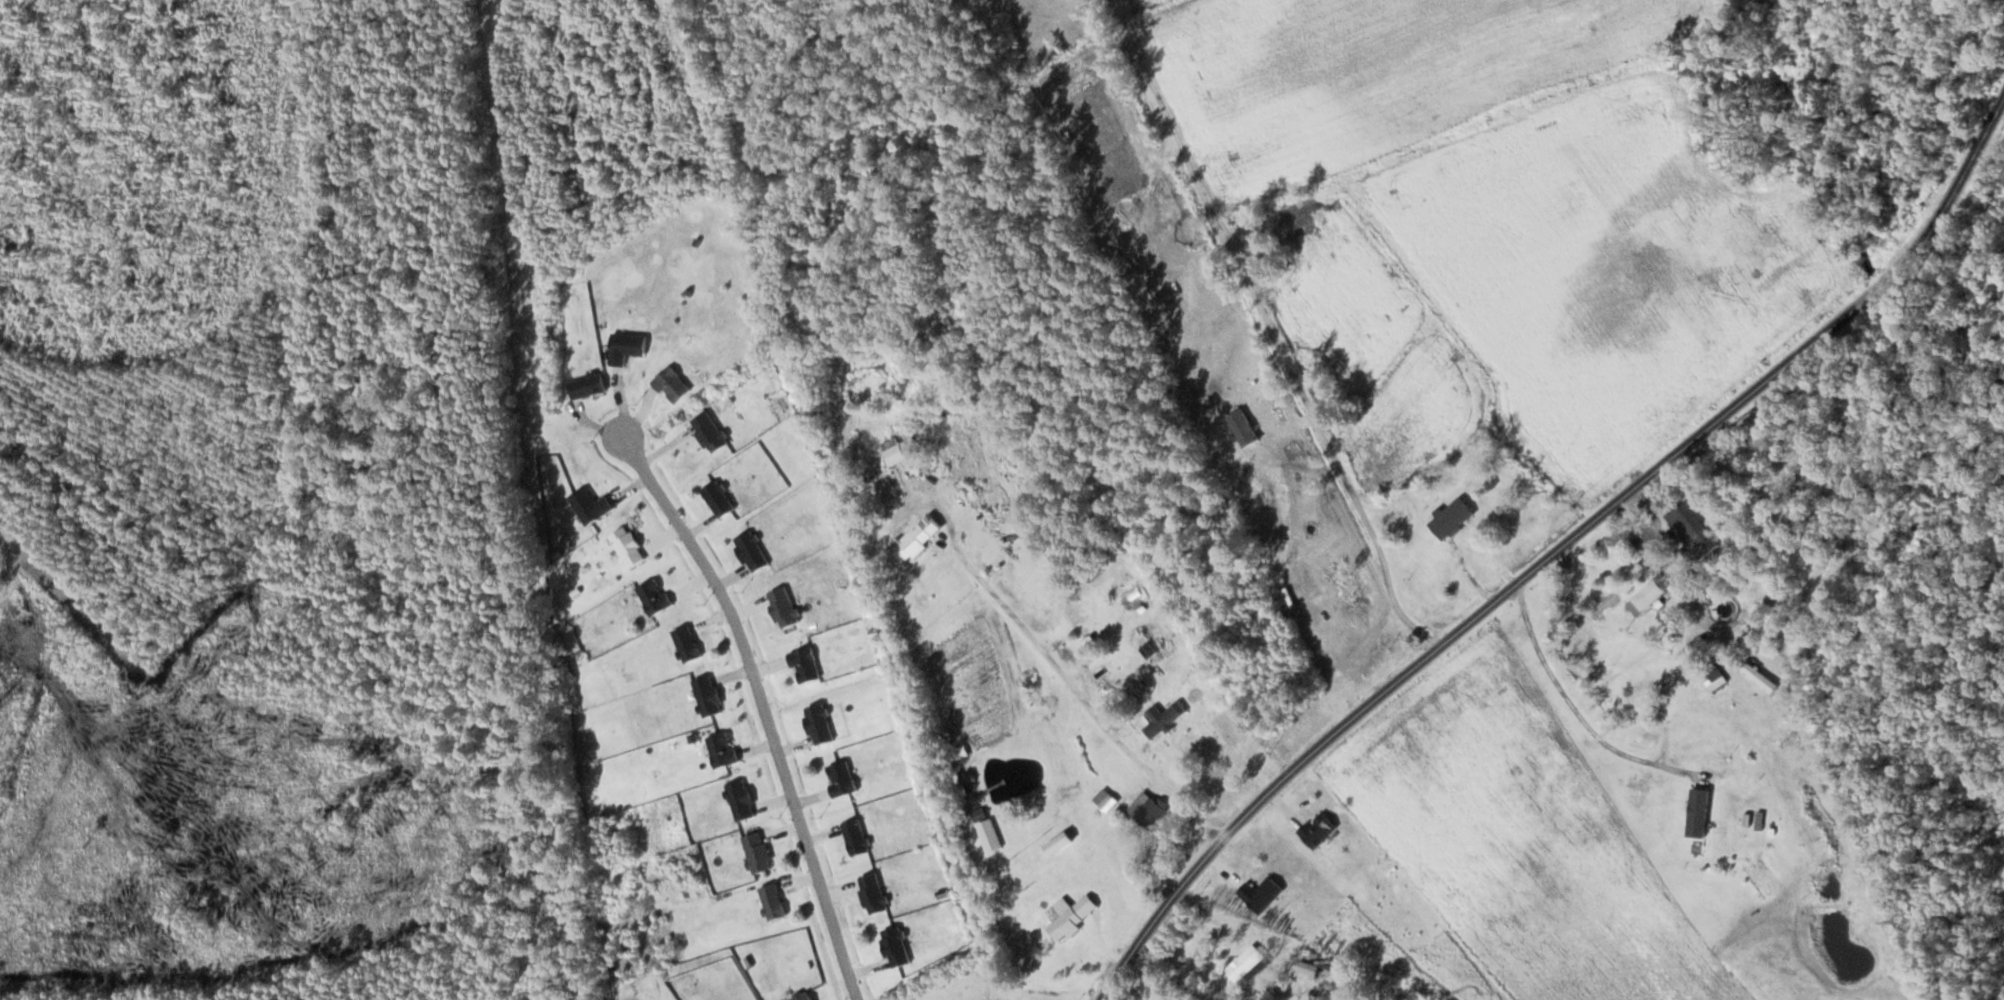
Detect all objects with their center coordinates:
road: (1270, 326)
building: (626, 347)
building: (671, 385)
building: (586, 386)
building: (709, 432)
building: (899, 447)
building: (718, 498)
building: (589, 505)
building: (1451, 519)
building: (1398, 524)
building: (1691, 531)
building: (912, 542)
road: (1551, 544)
building: (627, 546)
building: (750, 550)
building: (1658, 593)
building: (653, 596)
building: (783, 606)
building: (686, 643)
building: (1578, 649)
building: (804, 665)
building: (707, 695)
road: (1568, 706)
road: (765, 711)
building: (1161, 718)
building: (818, 723)
building: (721, 749)
building: (840, 778)
building: (740, 800)
building: (1146, 810)
building: (1697, 813)
building: (1317, 830)
building: (988, 834)
building: (855, 837)
building: (757, 852)
building: (871, 893)
building: (1260, 894)
building: (772, 901)
building: (1071, 917)
building: (895, 947)
building: (1247, 964)
building: (1319, 972)
building: (802, 996)

